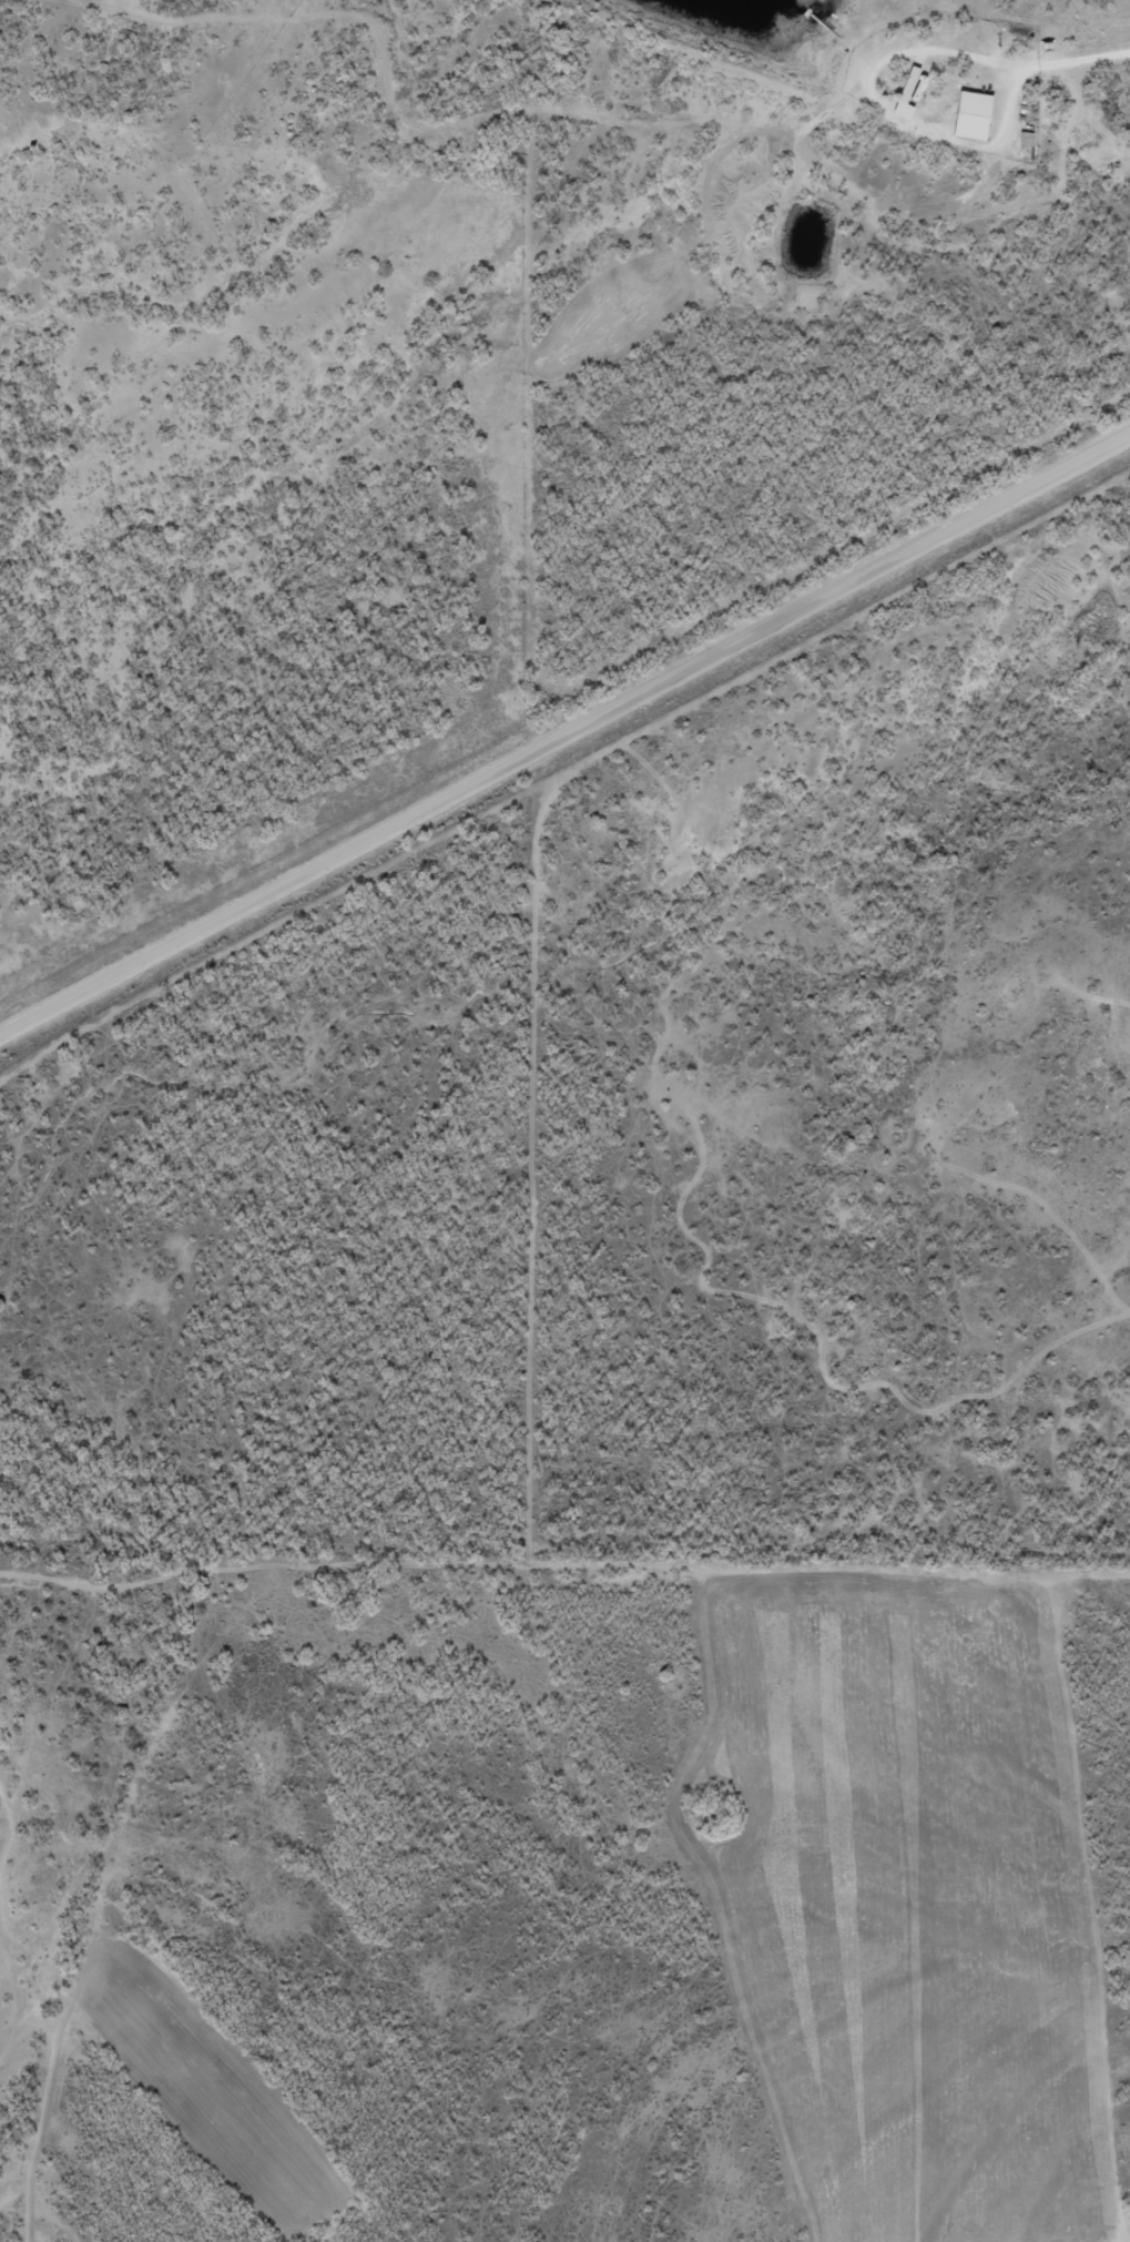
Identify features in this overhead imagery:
road: (1109, 16)
building: (905, 90)
building: (964, 115)
road: (564, 732)

